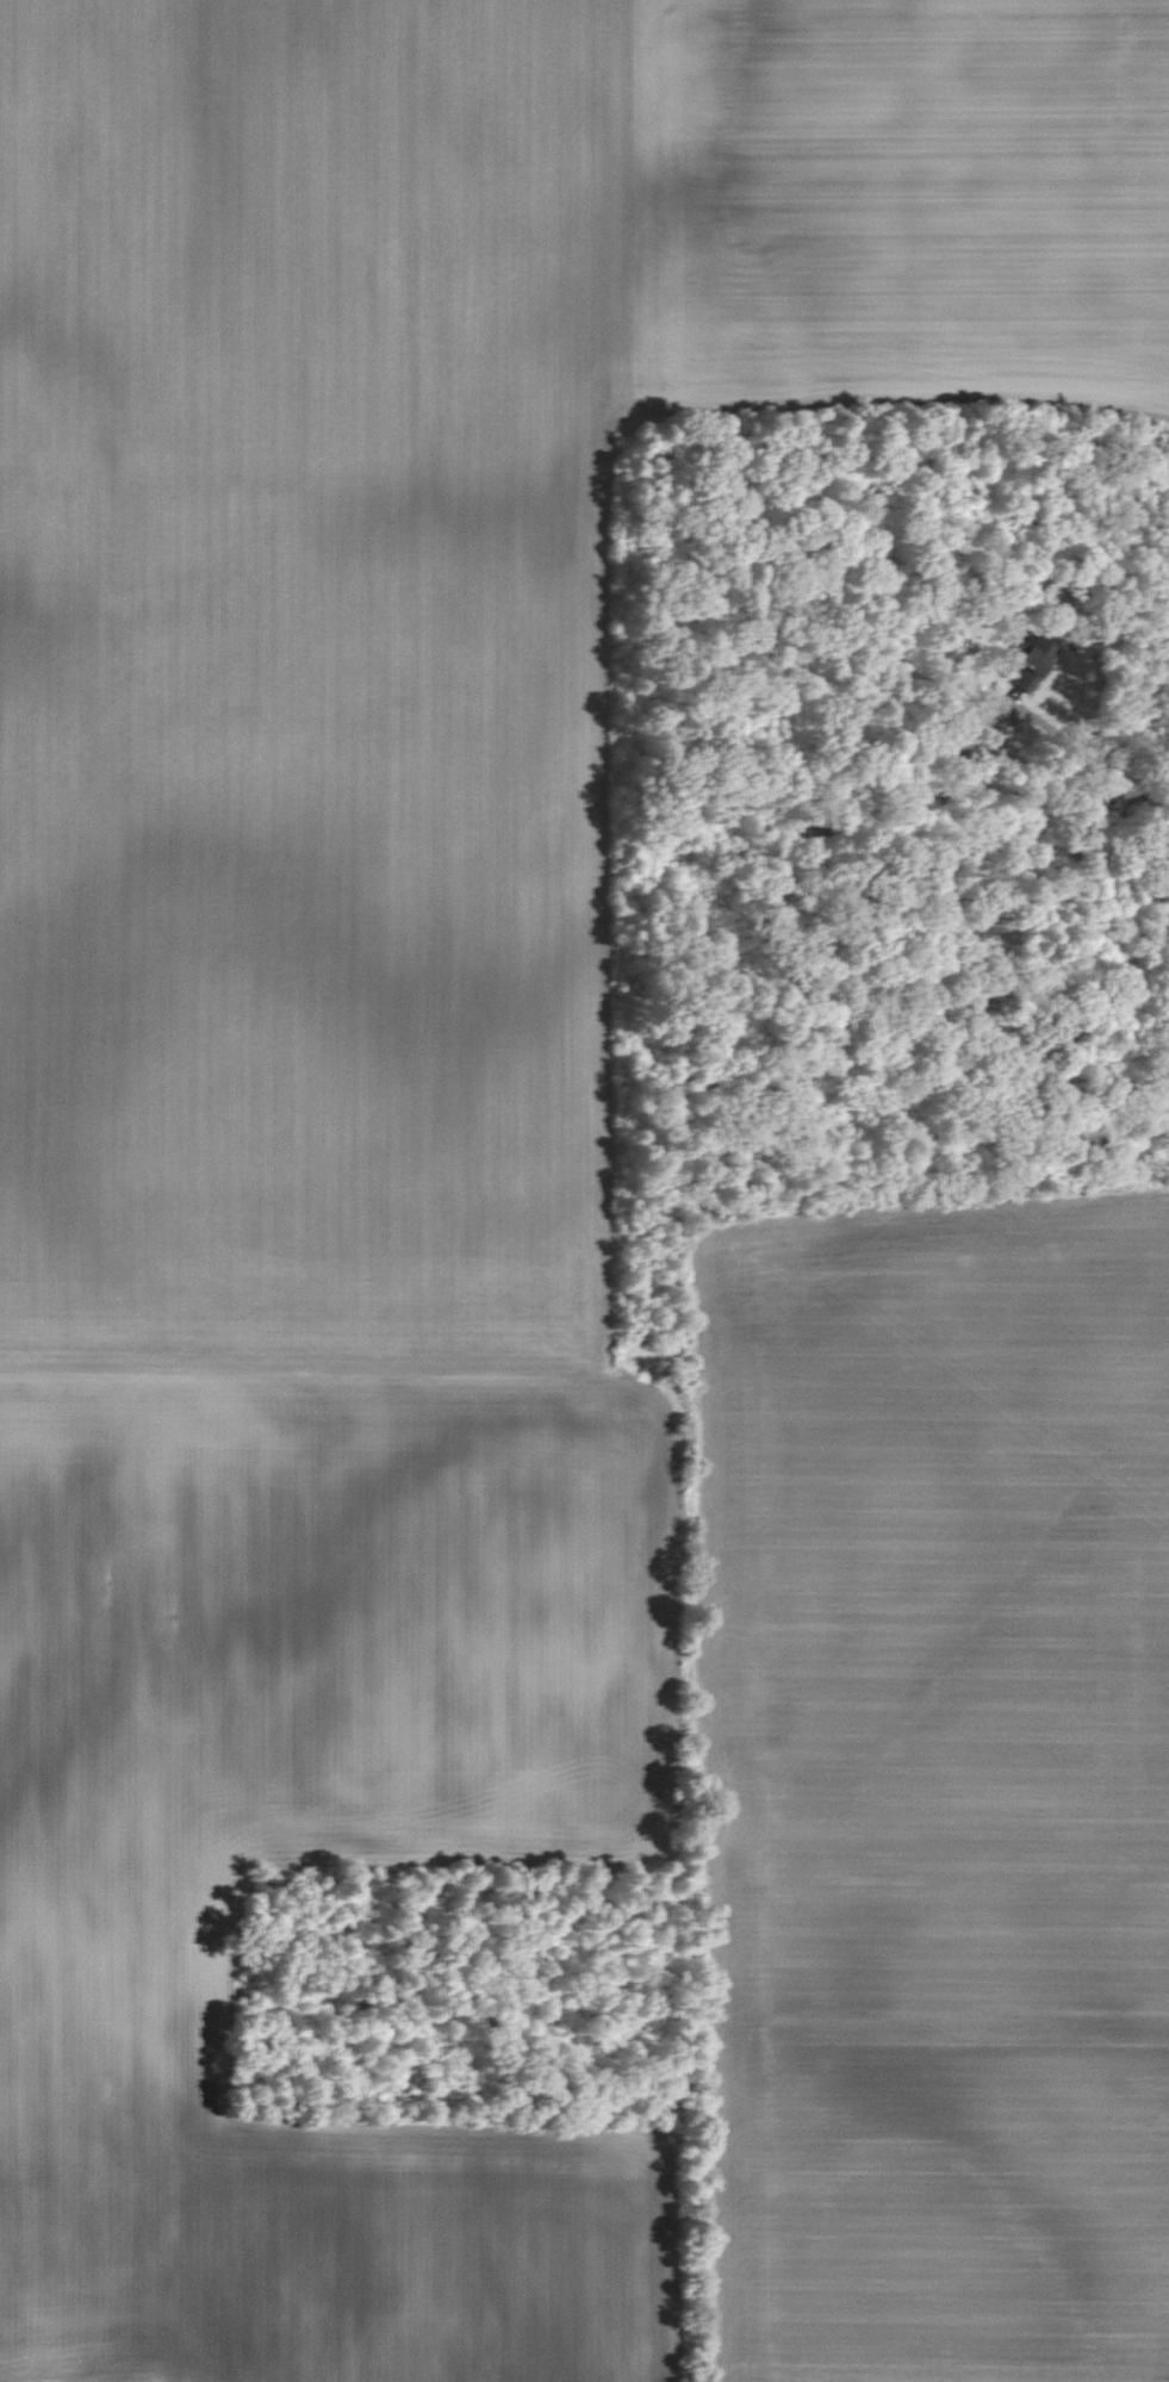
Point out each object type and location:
road: (1112, 754)

